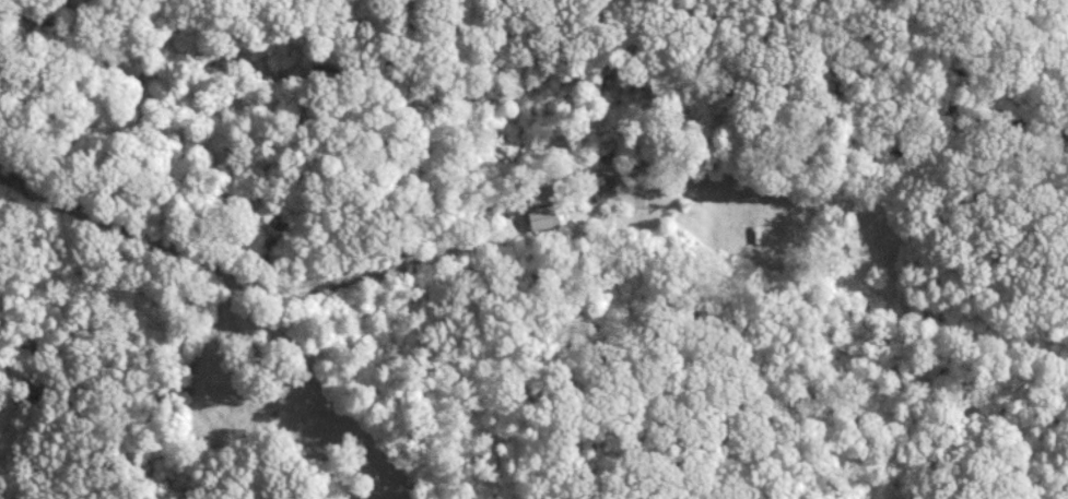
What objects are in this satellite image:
road: (525, 198)
building: (543, 215)
road: (308, 387)

